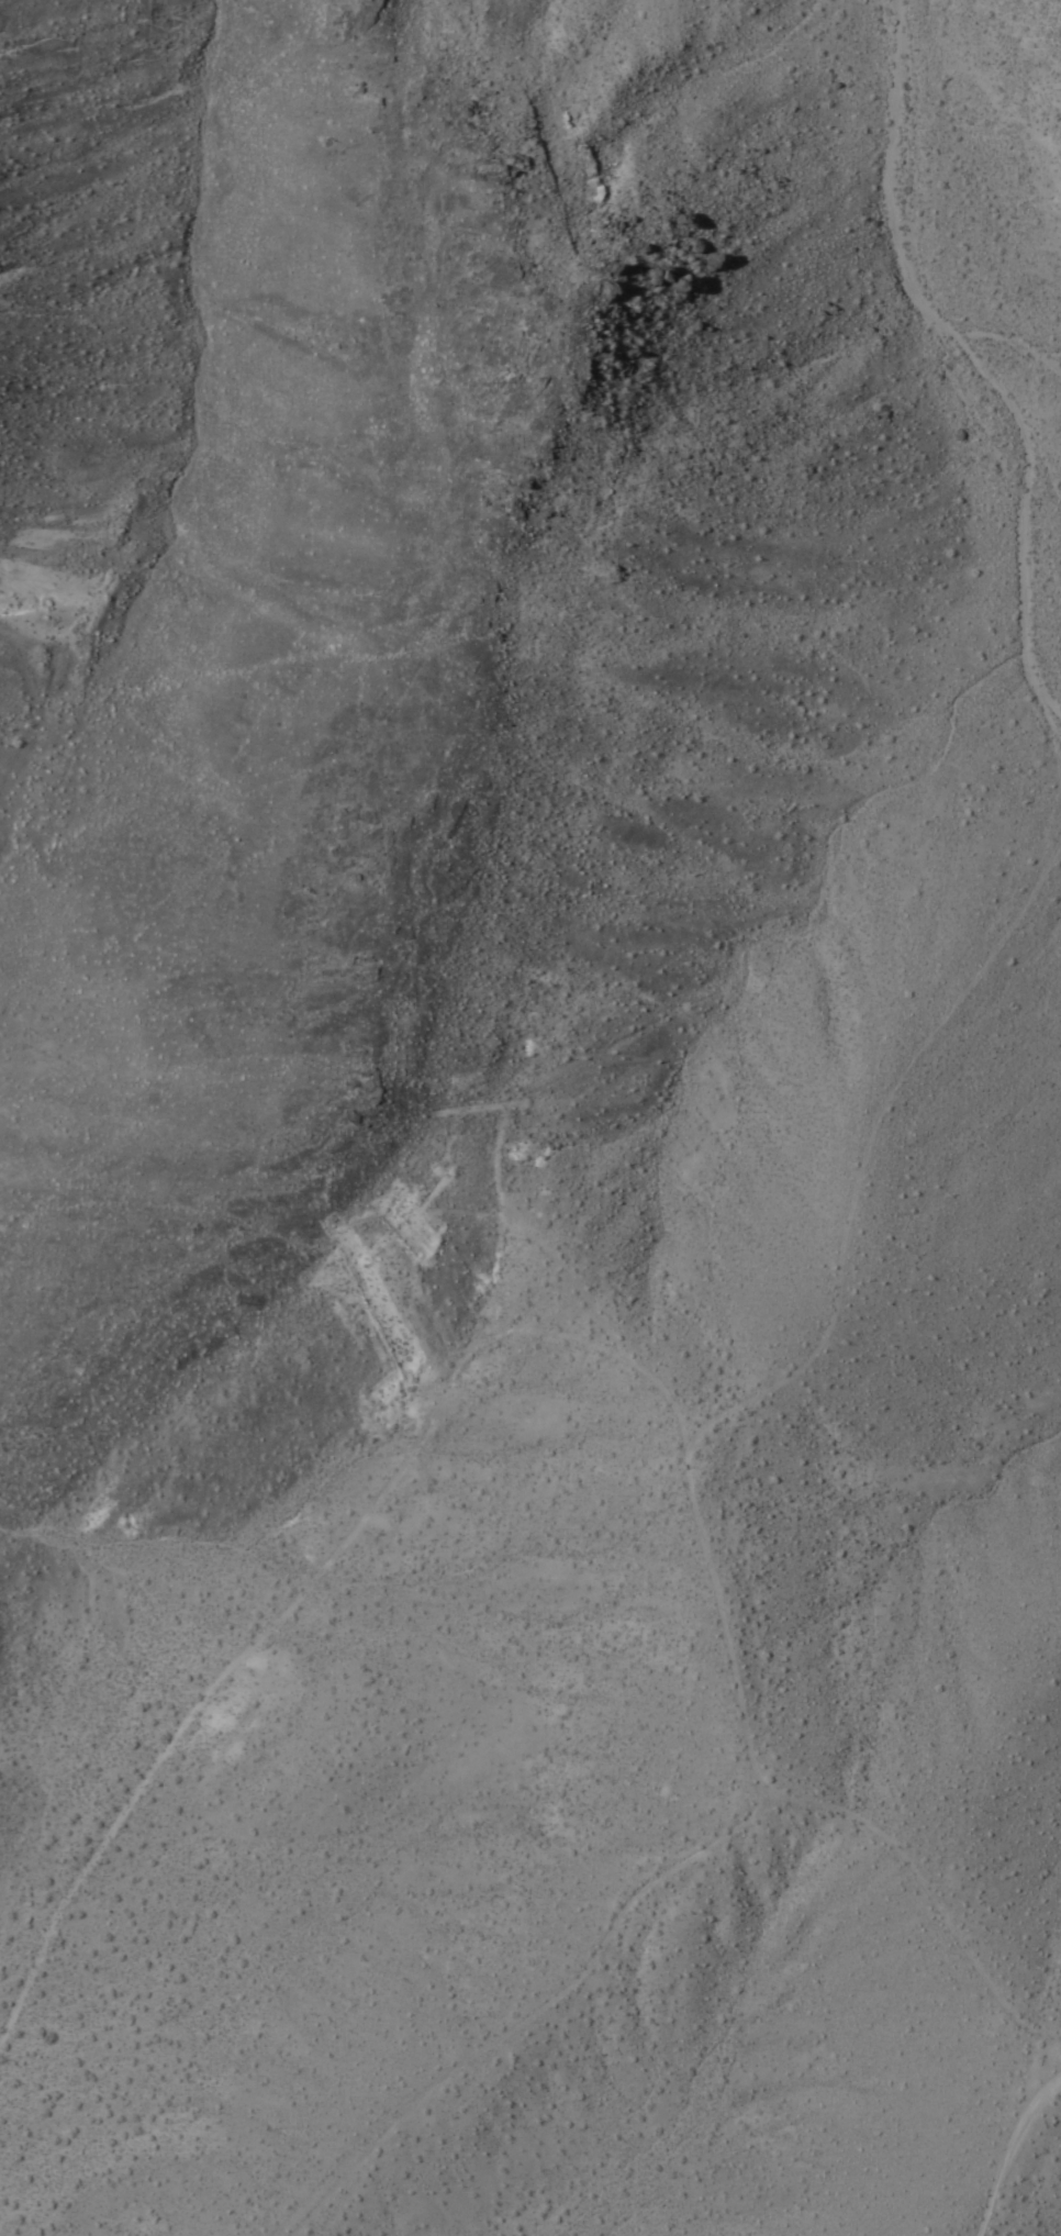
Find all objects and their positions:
road: (1006, 2147)

